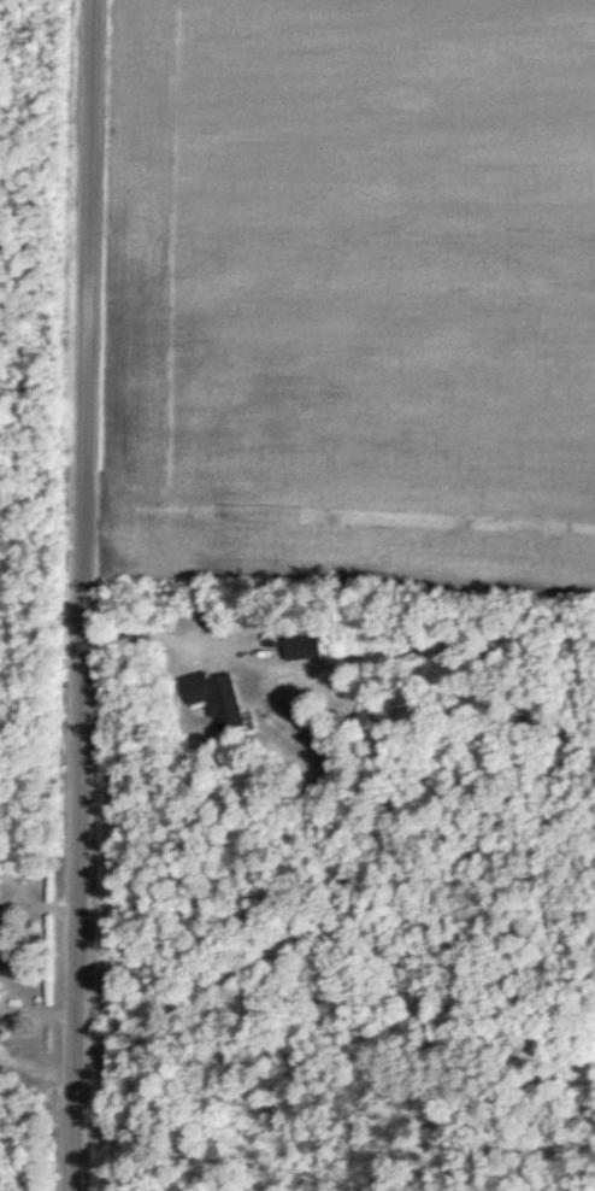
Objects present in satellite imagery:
road: (77, 595)
building: (297, 645)
building: (212, 697)

